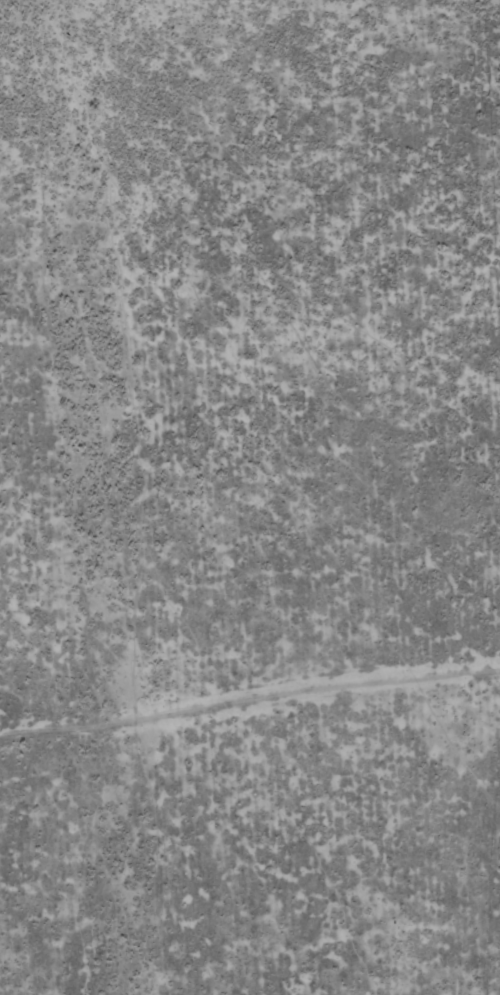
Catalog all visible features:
road: (250, 726)

